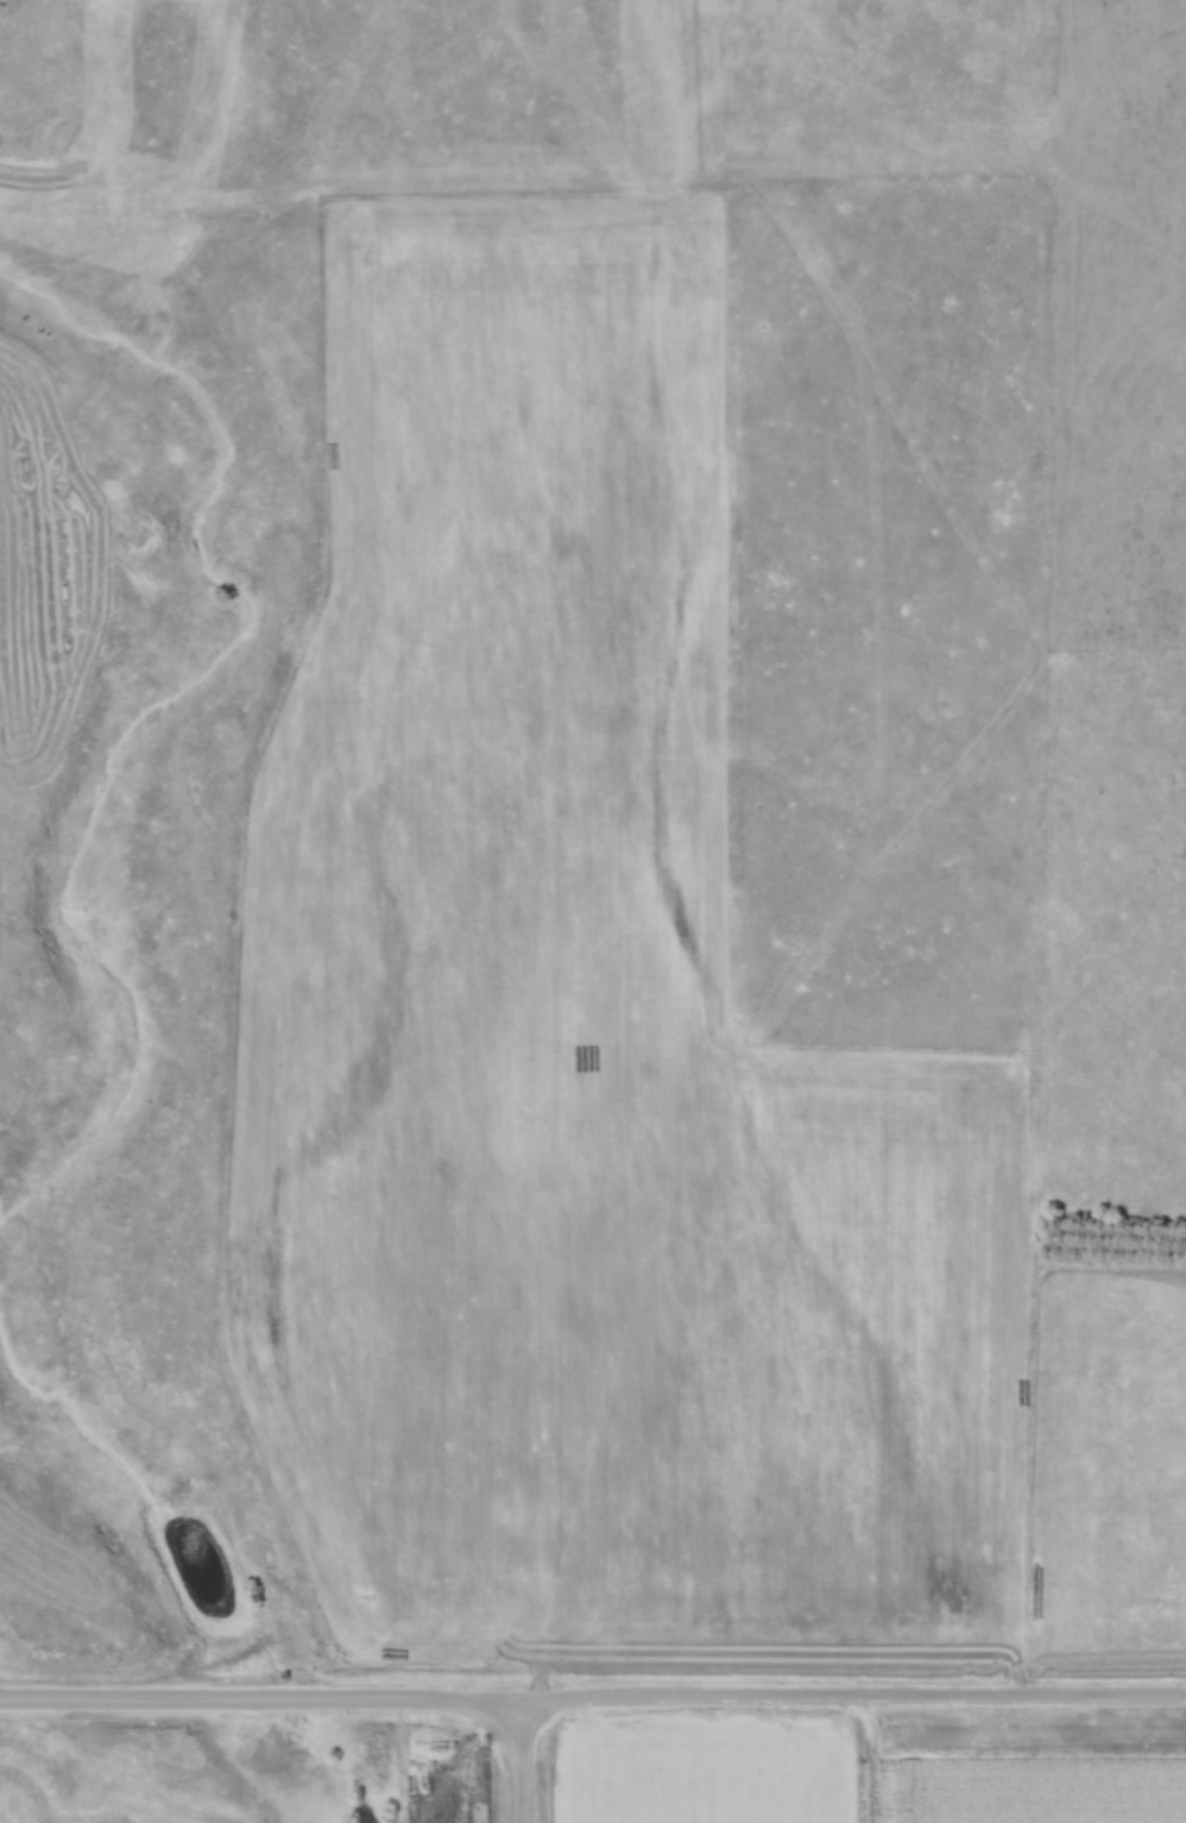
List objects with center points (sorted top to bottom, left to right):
road: (260, 1698)
road: (853, 1699)
road: (522, 1762)

